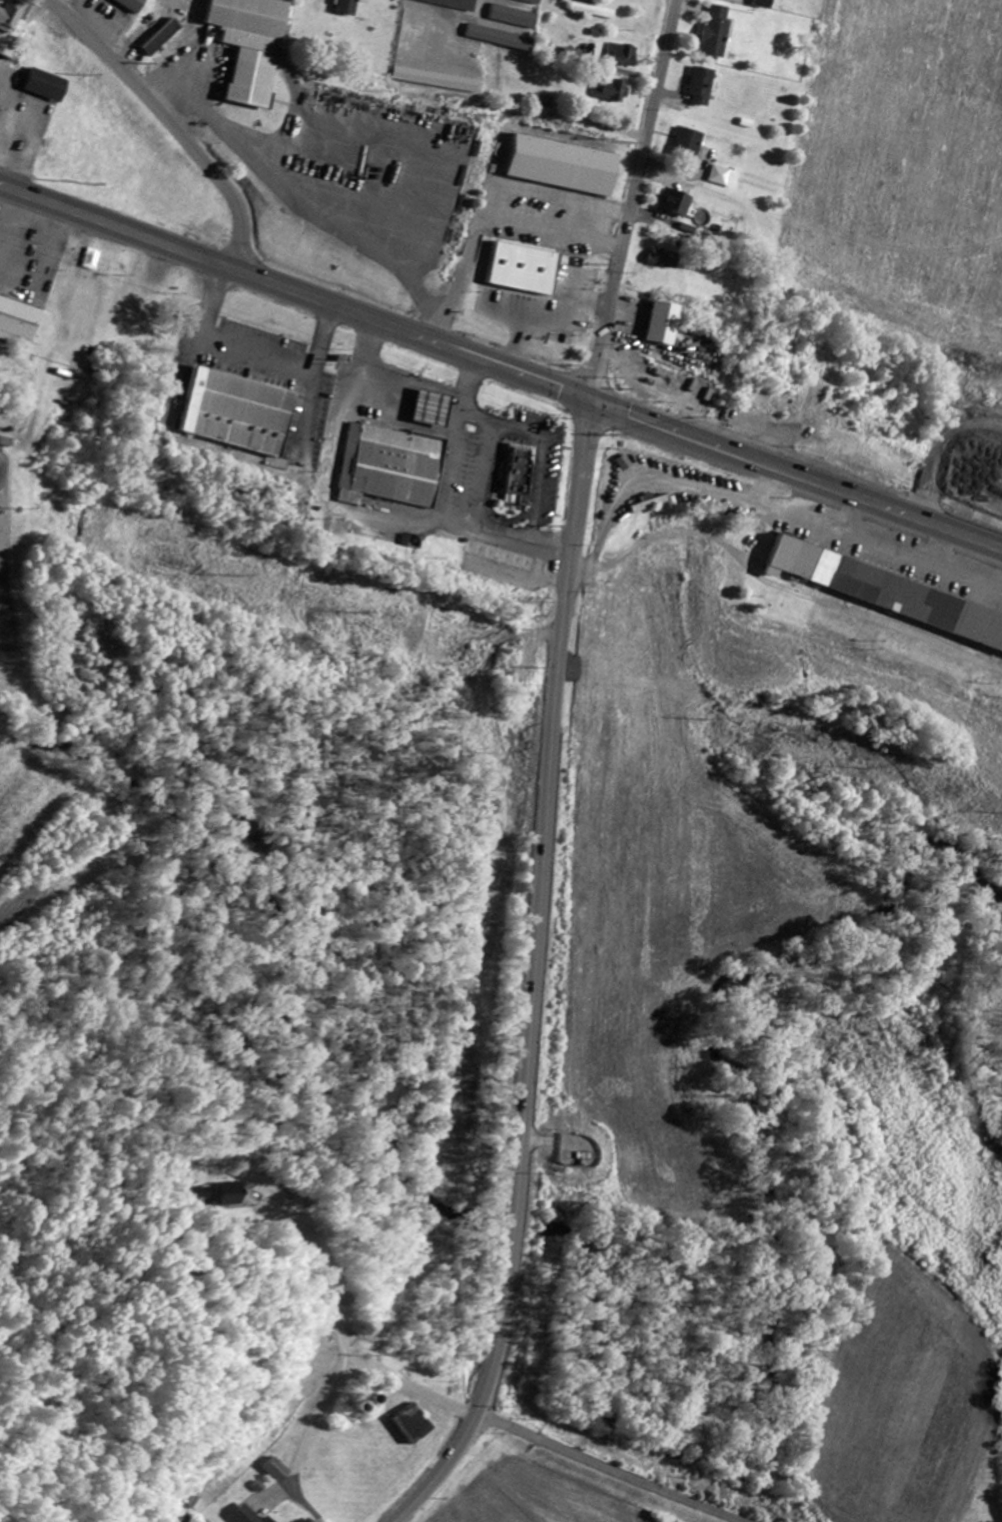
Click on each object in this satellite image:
building: (530, 2)
building: (452, 4)
building: (764, 4)
building: (131, 5)
building: (347, 8)
building: (593, 12)
road: (449, 16)
building: (10, 19)
building: (514, 19)
building: (718, 34)
building: (161, 40)
building: (500, 40)
building: (251, 46)
building: (621, 56)
building: (435, 82)
building: (47, 87)
building: (702, 88)
building: (610, 92)
building: (543, 102)
road: (168, 125)
building: (691, 143)
building: (559, 165)
building: (725, 178)
road: (634, 199)
building: (677, 204)
building: (664, 261)
building: (526, 271)
road: (296, 292)
building: (515, 292)
building: (660, 322)
building: (19, 324)
road: (253, 354)
traffic signals: (592, 399)
building: (429, 406)
building: (233, 410)
building: (395, 464)
building: (516, 471)
road: (797, 472)
building: (650, 505)
building: (498, 554)
building: (886, 590)
road: (532, 975)
road: (336, 1291)
road: (350, 1403)
building: (418, 1424)
building: (284, 1472)
building: (250, 1516)
building: (272, 1520)

